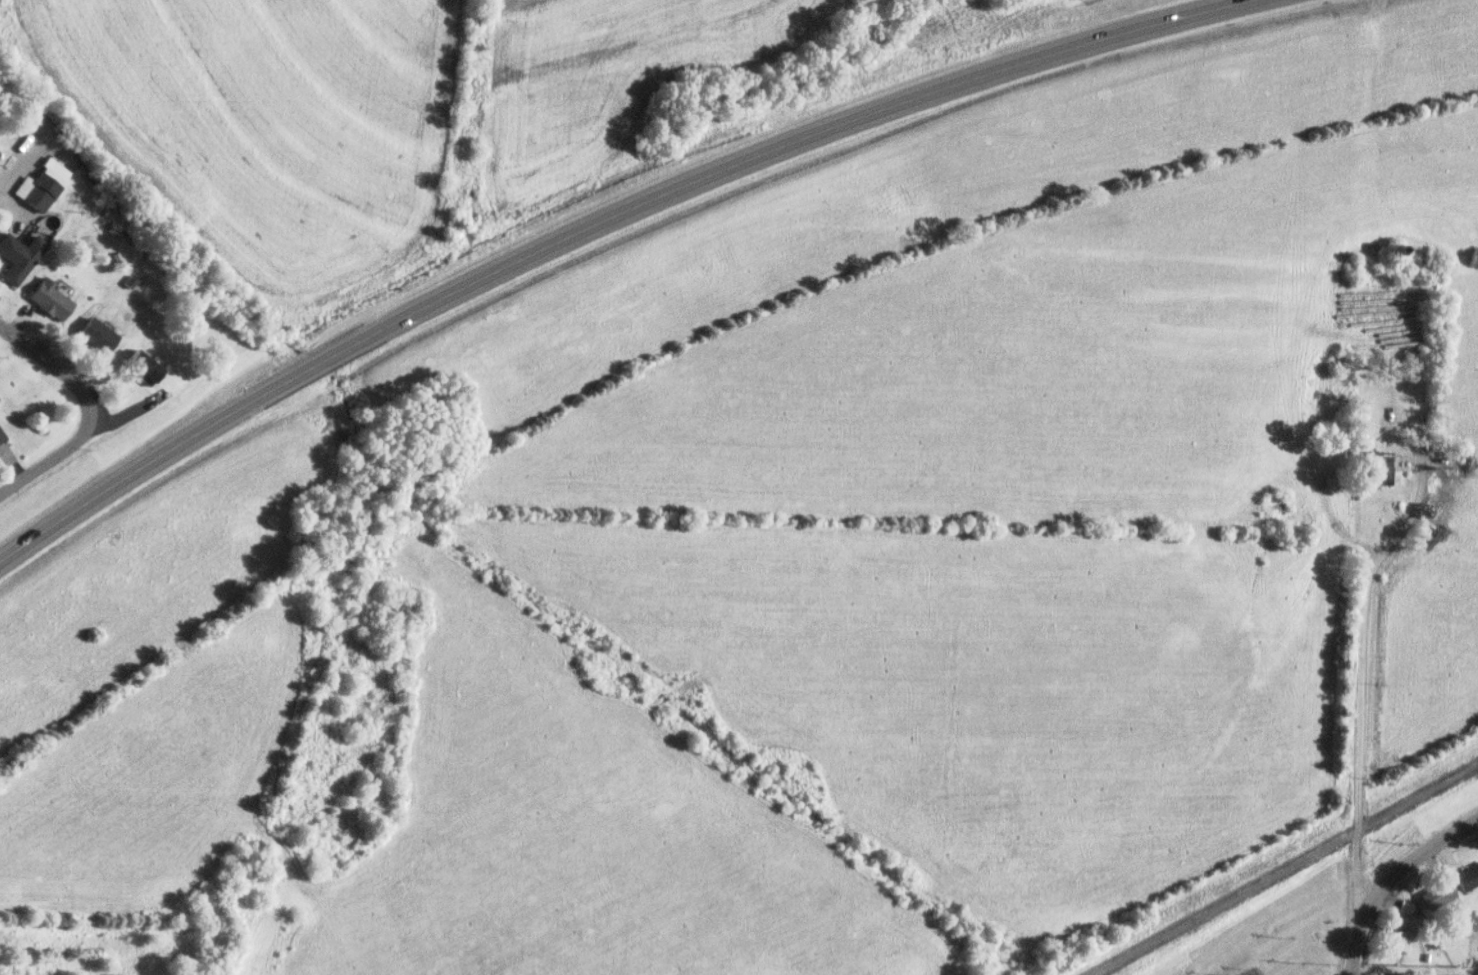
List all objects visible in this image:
road: (17, 156)
building: (44, 184)
road: (595, 222)
building: (18, 255)
building: (50, 299)
building: (97, 335)
building: (142, 367)
road: (89, 410)
building: (2, 437)
building: (1435, 459)
building: (1376, 469)
road: (1362, 709)
road: (1388, 876)
building: (1468, 876)
building: (1438, 893)
building: (1403, 930)
building: (1394, 972)

